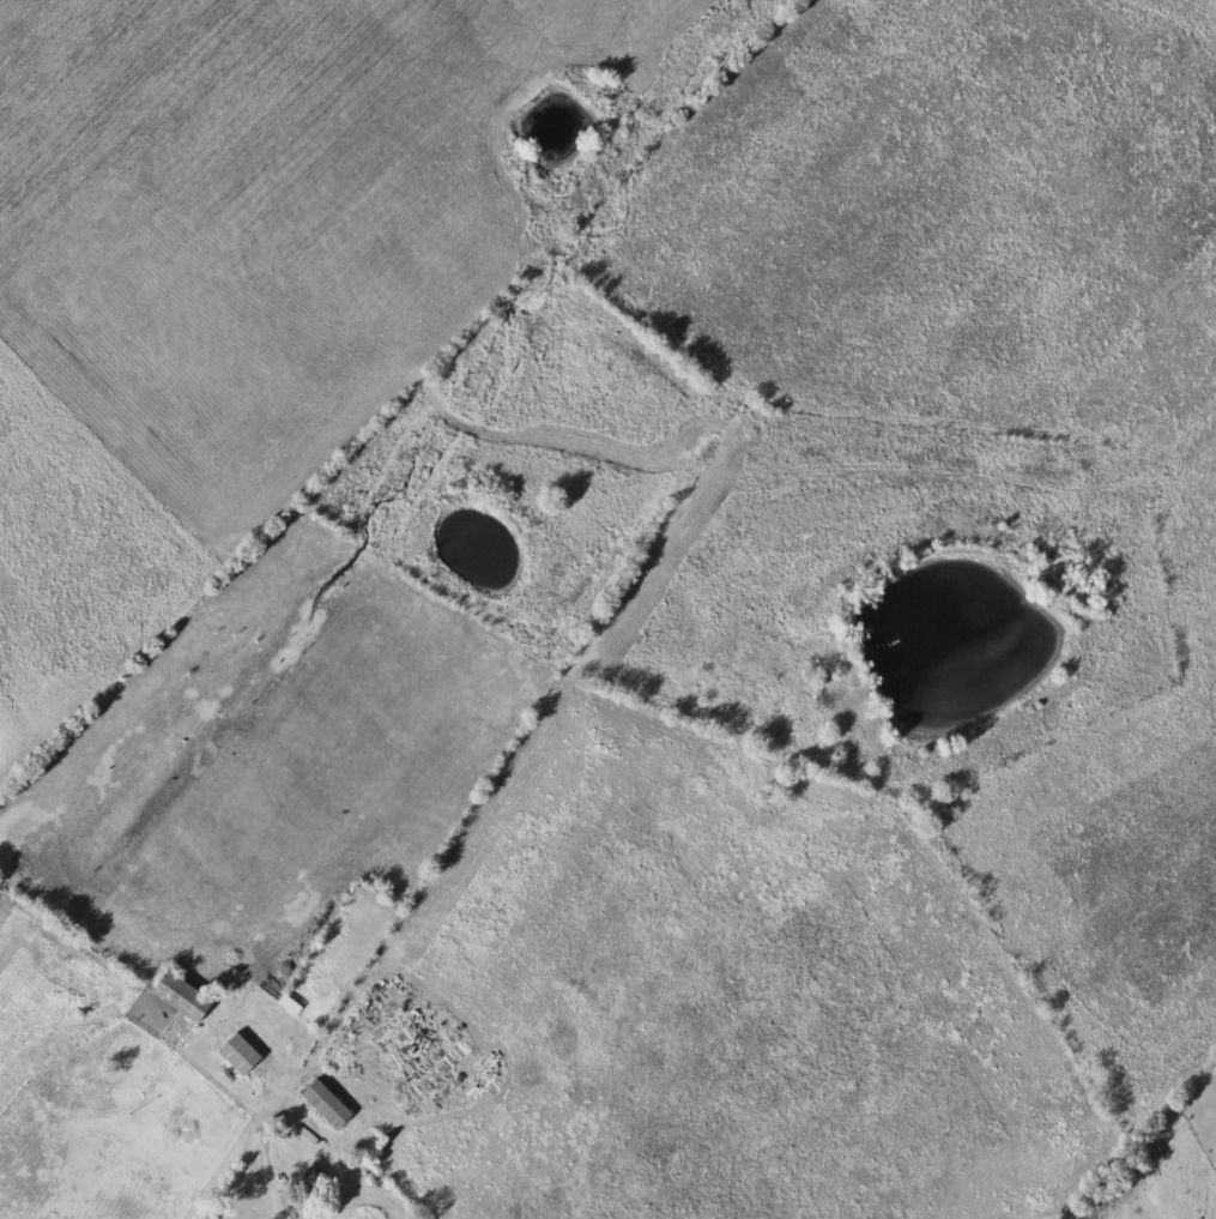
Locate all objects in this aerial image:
building: (184, 996)
building: (242, 1055)
building: (328, 1105)
road: (333, 1137)
road: (237, 1157)

